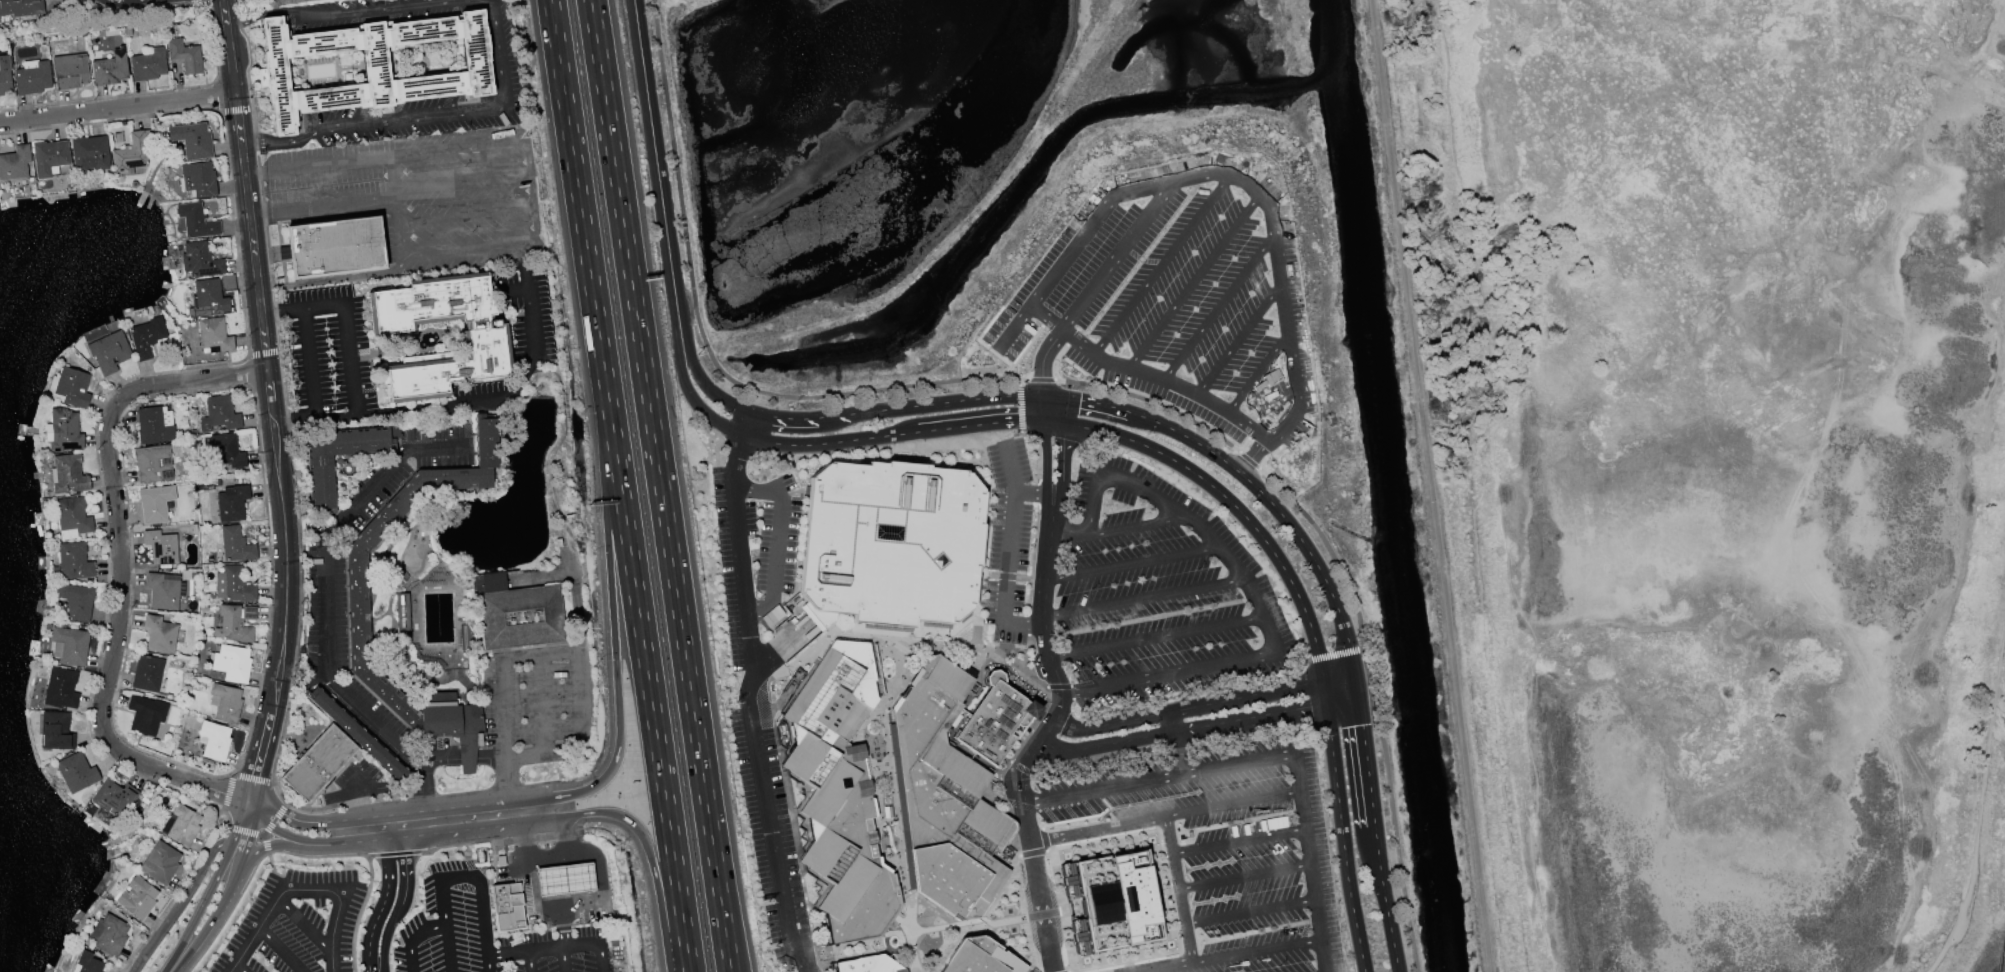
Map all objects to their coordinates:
road: (202, 1)
building: (280, 3)
building: (20, 7)
road: (344, 12)
road: (212, 42)
road: (248, 53)
building: (184, 56)
building: (147, 65)
building: (372, 65)
building: (110, 69)
building: (69, 71)
building: (31, 77)
building: (4, 79)
road: (106, 97)
road: (215, 97)
road: (117, 105)
road: (235, 110)
road: (424, 116)
road: (109, 119)
building: (191, 140)
building: (133, 151)
building: (89, 154)
building: (48, 156)
building: (14, 163)
road: (316, 163)
road: (656, 168)
road: (1223, 175)
building: (198, 179)
road: (461, 180)
parking lot: (416, 188)
road: (578, 198)
road: (321, 204)
road: (465, 213)
building: (195, 221)
road: (264, 229)
road: (233, 232)
building: (334, 246)
road: (402, 251)
road: (1117, 256)
building: (199, 260)
road: (1160, 265)
road: (335, 278)
road: (1192, 282)
building: (227, 283)
parking lot: (1182, 297)
building: (207, 298)
road: (1218, 307)
road: (1046, 318)
parking lot: (996, 327)
building: (214, 335)
building: (147, 337)
road: (1238, 340)
building: (485, 343)
parking lot: (1016, 345)
building: (109, 352)
road: (263, 352)
road: (264, 353)
road: (1041, 359)
road: (248, 370)
road: (1256, 374)
traffic signals: (1041, 377)
road: (1165, 379)
road: (1075, 383)
road: (705, 385)
building: (69, 388)
road: (508, 390)
road: (358, 391)
road: (691, 399)
traffic signals: (1079, 400)
road: (1085, 401)
road: (946, 402)
road: (1046, 409)
road: (1274, 409)
building: (220, 413)
road: (1141, 416)
road: (294, 419)
road: (801, 419)
traffic signals: (1015, 421)
building: (155, 425)
road: (968, 426)
building: (64, 430)
road: (1097, 431)
traffic signals: (1059, 438)
road: (816, 444)
road: (1199, 444)
building: (226, 451)
road: (1252, 456)
road: (1059, 457)
road: (1046, 458)
building: (153, 464)
road: (1012, 467)
road: (1185, 467)
building: (69, 474)
building: (319, 481)
road: (660, 485)
road: (1430, 485)
road: (744, 490)
road: (1033, 493)
road: (765, 494)
road: (1091, 502)
building: (155, 503)
building: (231, 503)
building: (72, 516)
road: (1066, 530)
parking lot: (1008, 541)
building: (889, 543)
building: (235, 544)
road: (779, 546)
building: (161, 547)
road: (1010, 557)
building: (74, 560)
road: (1131, 561)
road: (1314, 563)
road: (107, 569)
road: (119, 571)
road: (130, 572)
road: (271, 580)
road: (301, 580)
building: (233, 584)
building: (162, 590)
parking lot: (1157, 592)
road: (1143, 598)
building: (76, 601)
road: (760, 608)
building: (357, 610)
building: (401, 611)
building: (516, 612)
road: (328, 615)
road: (612, 620)
building: (234, 623)
road: (1024, 625)
building: (159, 634)
road: (1155, 637)
building: (71, 645)
road: (782, 648)
traffic signals: (1317, 651)
road: (577, 652)
road: (1336, 654)
road: (1251, 658)
road: (1294, 659)
building: (230, 663)
building: (147, 673)
road: (648, 684)
parking lot: (764, 687)
building: (60, 688)
road: (748, 692)
road: (1231, 698)
road: (1341, 700)
parking lot: (537, 702)
building: (225, 703)
road: (541, 705)
traffic signals: (1310, 706)
building: (145, 715)
road: (1250, 717)
road: (1328, 720)
building: (992, 722)
traffic signals: (1361, 725)
road: (1080, 729)
building: (56, 731)
building: (356, 733)
road: (1043, 734)
building: (214, 740)
road: (1176, 742)
road: (1106, 744)
road: (1364, 750)
road: (259, 755)
road: (466, 758)
road: (489, 758)
road: (437, 759)
building: (317, 763)
building: (75, 772)
road: (252, 778)
road: (1102, 787)
road: (504, 791)
road: (227, 792)
road: (417, 793)
building: (841, 794)
building: (113, 797)
road: (1241, 801)
road: (347, 802)
building: (948, 802)
road: (359, 803)
road: (264, 805)
road: (1304, 805)
road: (1981, 806)
road: (282, 809)
road: (437, 809)
road: (1173, 815)
road: (272, 821)
road: (302, 822)
building: (181, 825)
road: (214, 825)
road: (401, 825)
road: (244, 827)
road: (1097, 829)
road: (560, 830)
road: (243, 832)
road: (442, 832)
road: (260, 835)
road: (285, 835)
road: (263, 836)
road: (1240, 841)
road: (491, 842)
road: (272, 844)
road: (266, 846)
road: (584, 851)
road: (396, 853)
road: (648, 853)
parking lot: (1215, 853)
road: (317, 856)
road: (553, 860)
building: (159, 863)
road: (405, 864)
road: (234, 868)
road: (271, 868)
road: (529, 868)
road: (308, 871)
road: (461, 875)
road: (1245, 876)
road: (578, 878)
building: (564, 879)
road: (556, 880)
road: (285, 883)
road: (300, 889)
road: (1178, 889)
road: (385, 894)
road: (580, 896)
building: (137, 897)
road: (224, 897)
road: (183, 898)
road: (487, 898)
road: (1384, 899)
road: (170, 900)
road: (559, 901)
building: (1110, 901)
building: (506, 907)
gas station: (506, 907)
road: (199, 910)
road: (1251, 911)
road: (228, 912)
road: (359, 912)
road: (304, 923)
parking lot: (297, 924)
road: (387, 930)
parking lot: (489, 934)
road: (489, 934)
building: (108, 935)
road: (414, 938)
road: (197, 939)
road: (555, 946)
road: (281, 948)
road: (1257, 950)
building: (980, 957)
road: (563, 959)
road: (530, 961)
building: (86, 963)
building: (868, 965)
road: (240, 966)
road: (1163, 966)
road: (369, 971)

